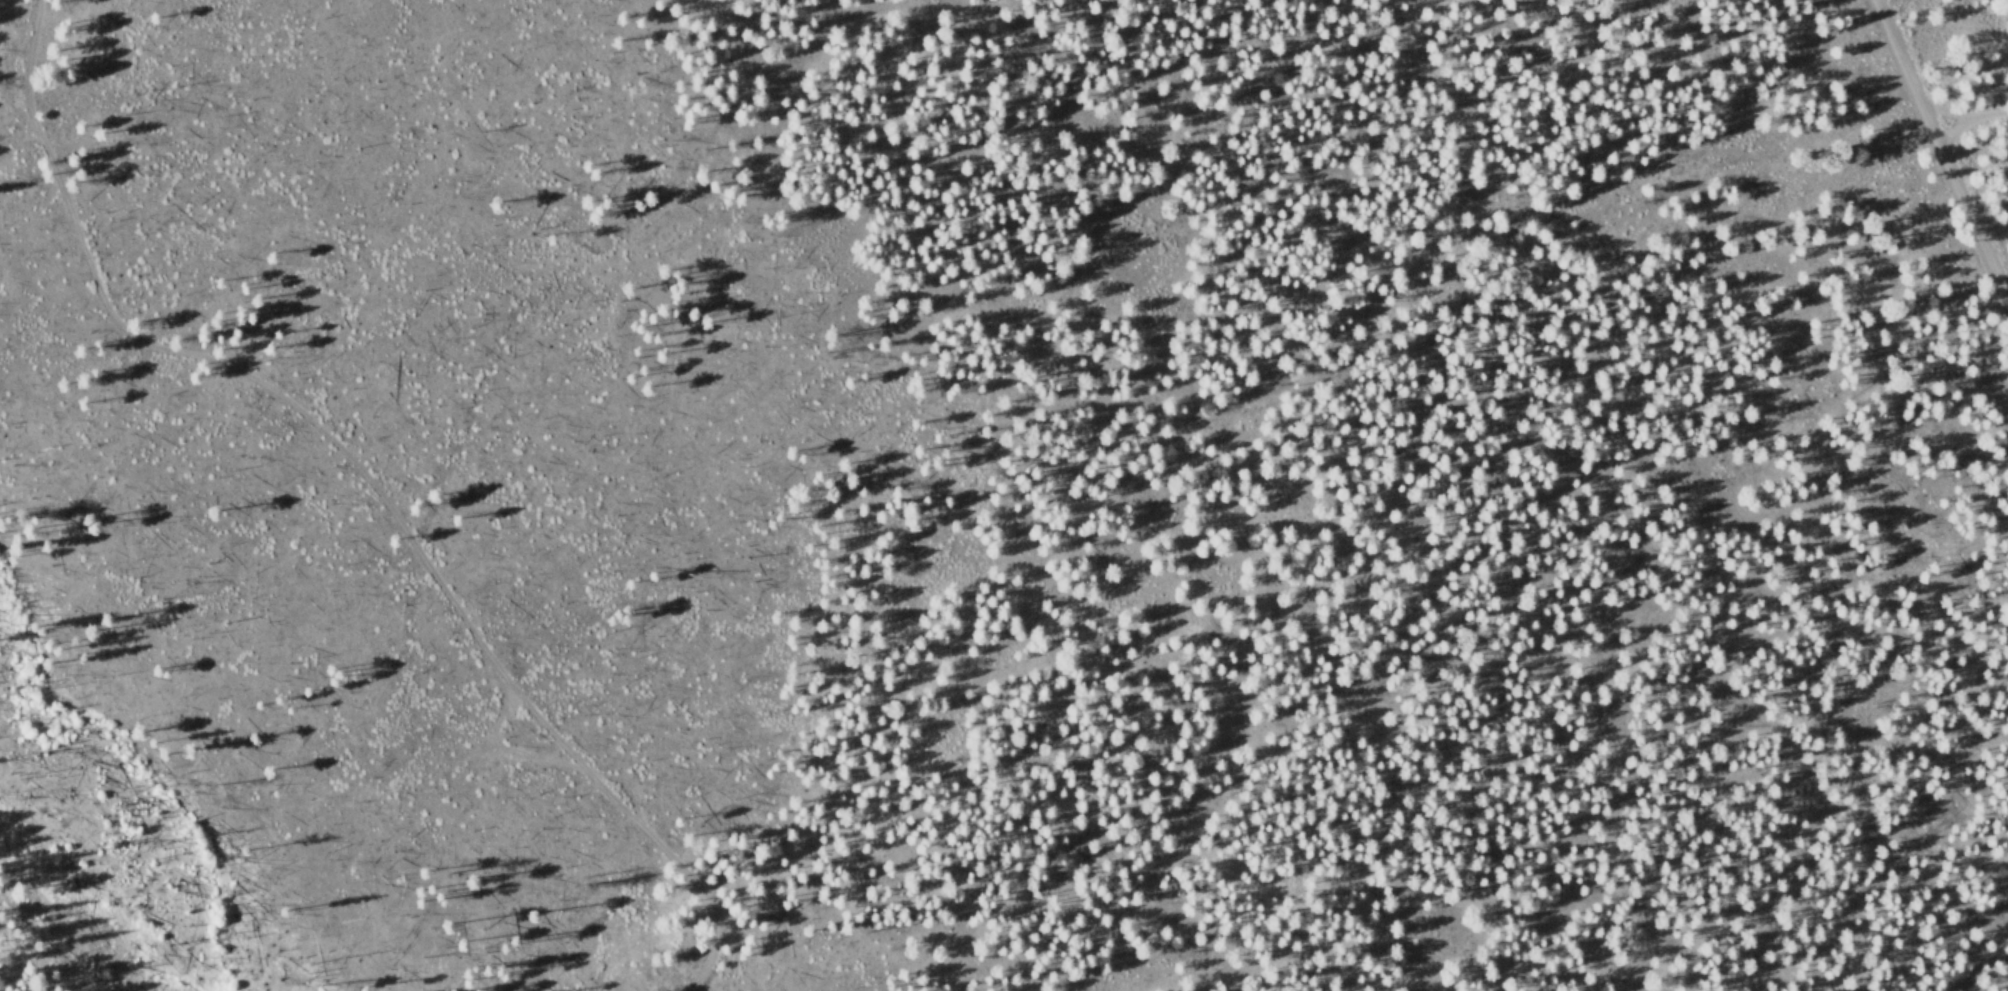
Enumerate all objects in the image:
road: (1942, 147)
road: (372, 479)

